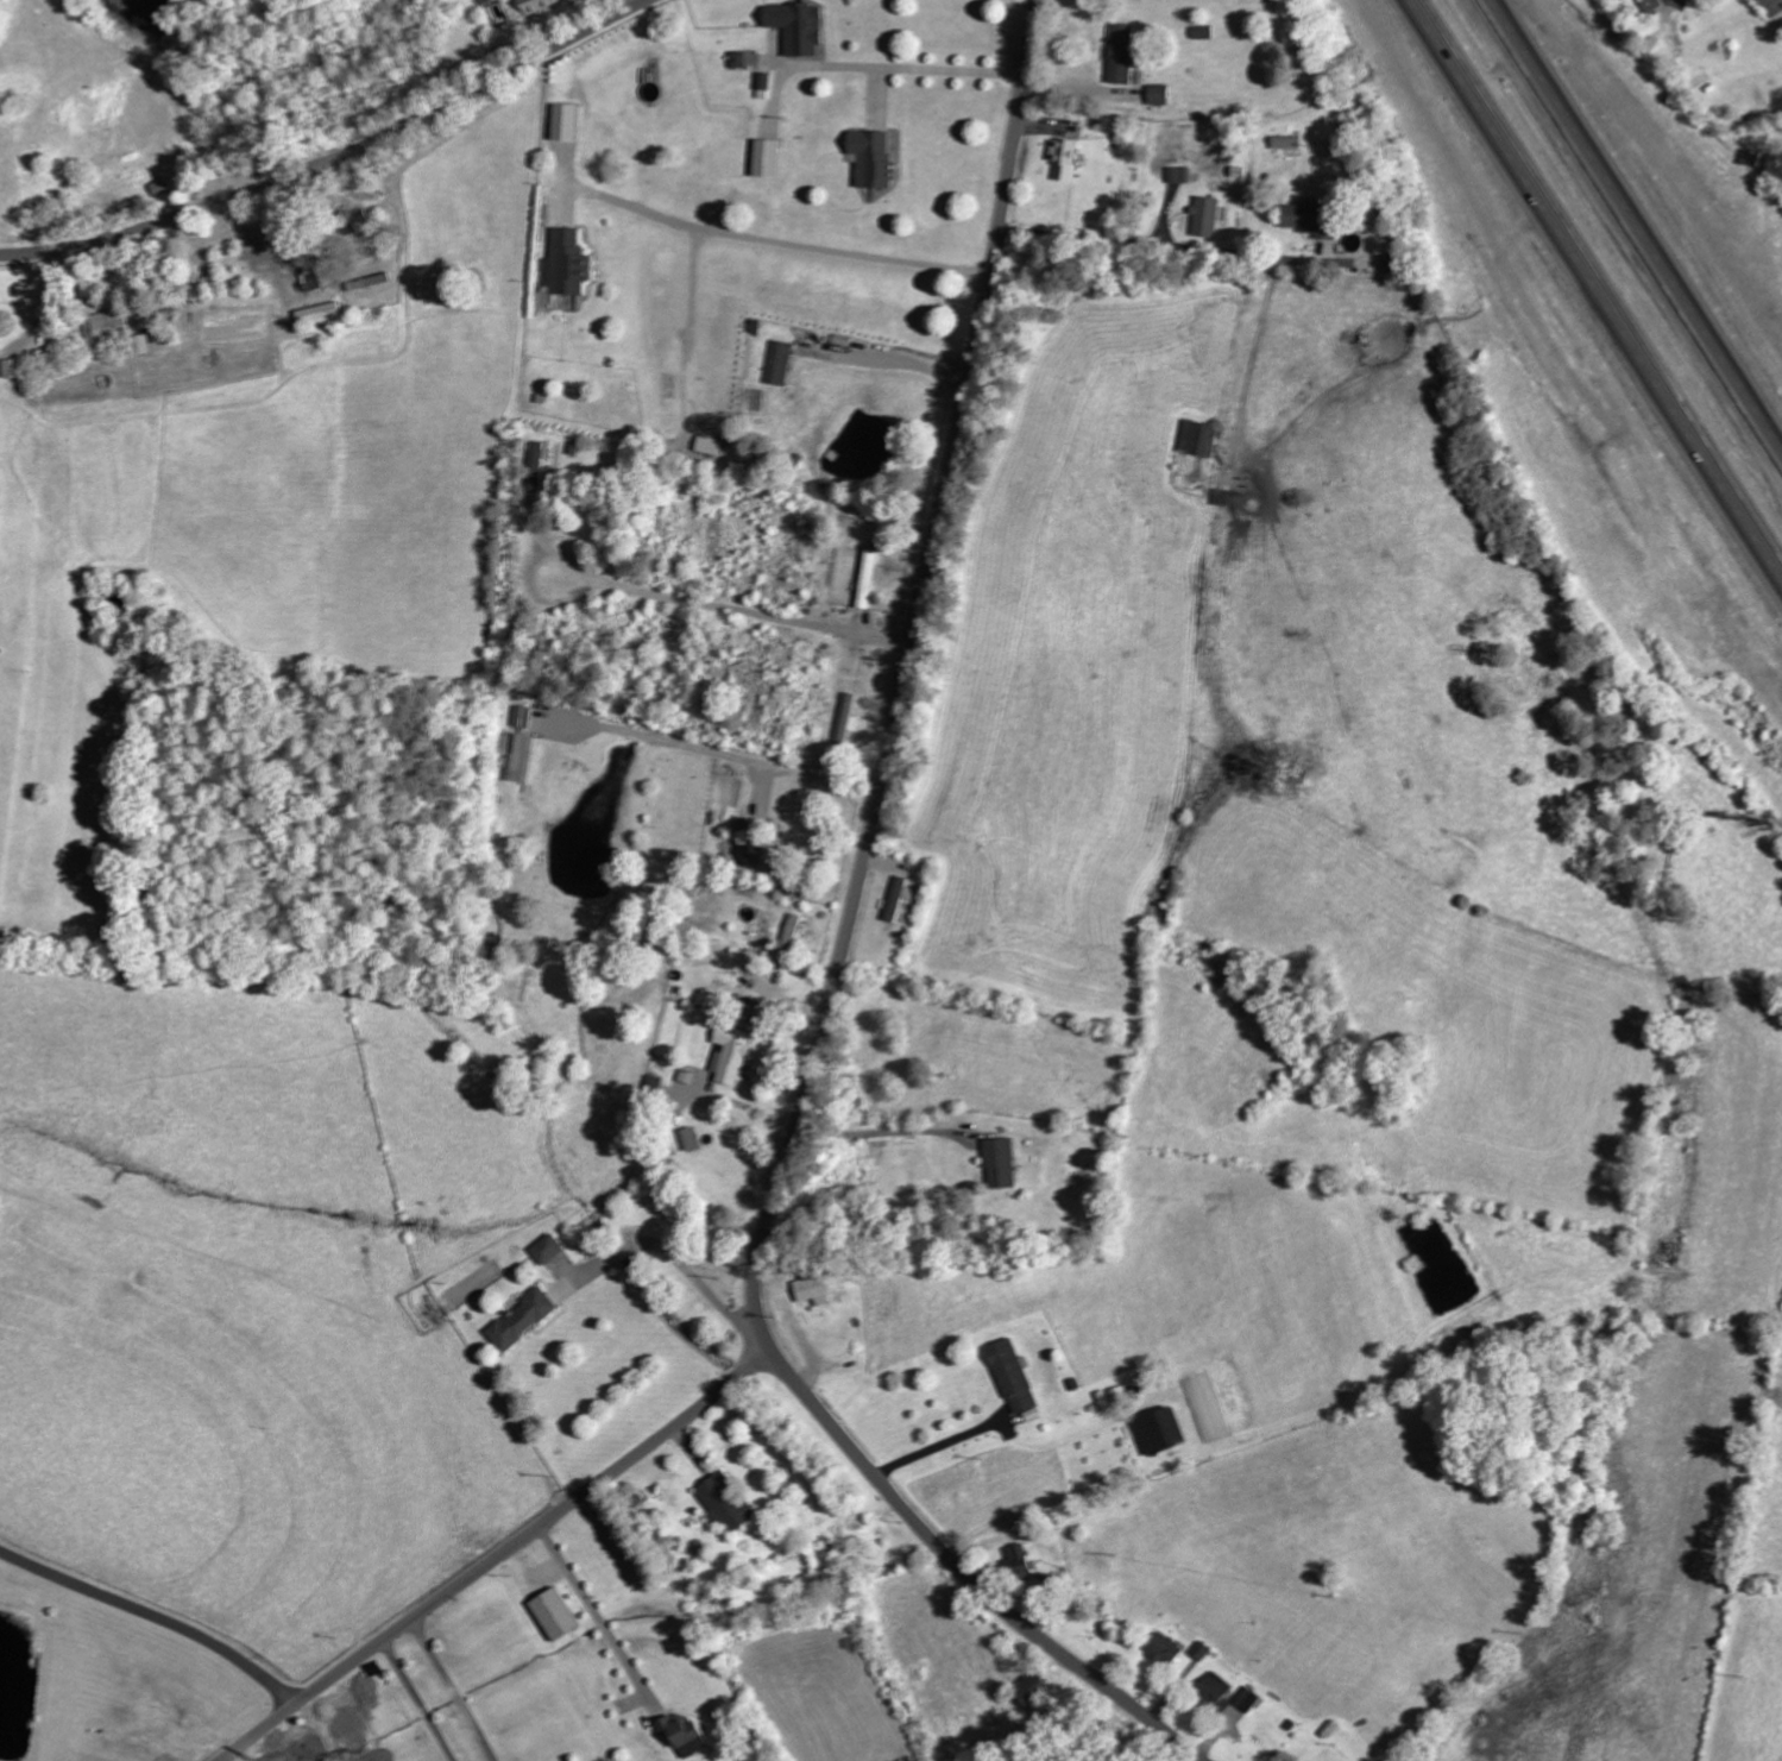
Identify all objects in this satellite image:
building: (1651, 5)
building: (536, 6)
building: (1774, 7)
building: (796, 26)
building: (1202, 32)
building: (1121, 52)
building: (737, 59)
building: (1158, 94)
building: (563, 122)
building: (1285, 143)
road: (335, 158)
building: (767, 158)
building: (871, 158)
building: (1064, 158)
building: (1178, 175)
building: (162, 188)
building: (1205, 216)
building: (1310, 220)
building: (355, 222)
road: (1631, 232)
building: (565, 264)
building: (310, 279)
road: (1601, 279)
building: (317, 312)
building: (105, 326)
building: (139, 345)
building: (779, 363)
building: (10, 369)
building: (1198, 439)
building: (711, 446)
building: (536, 467)
building: (1221, 497)
building: (870, 578)
building: (521, 717)
building: (848, 719)
building: (514, 755)
building: (756, 857)
building: (900, 898)
building: (792, 933)
road: (842, 968)
building: (731, 1056)
building: (688, 1075)
building: (691, 1139)
building: (1000, 1164)
building: (548, 1250)
building: (811, 1288)
building: (522, 1321)
building: (1012, 1376)
building: (1161, 1430)
building: (725, 1503)
road: (502, 1558)
building: (1019, 1561)
building: (553, 1614)
road: (156, 1616)
road: (599, 1618)
building: (1165, 1649)
building: (1032, 1688)
road: (452, 1691)
building: (1216, 1691)
building: (1248, 1699)
road: (418, 1702)
building: (682, 1735)
road: (226, 1760)

